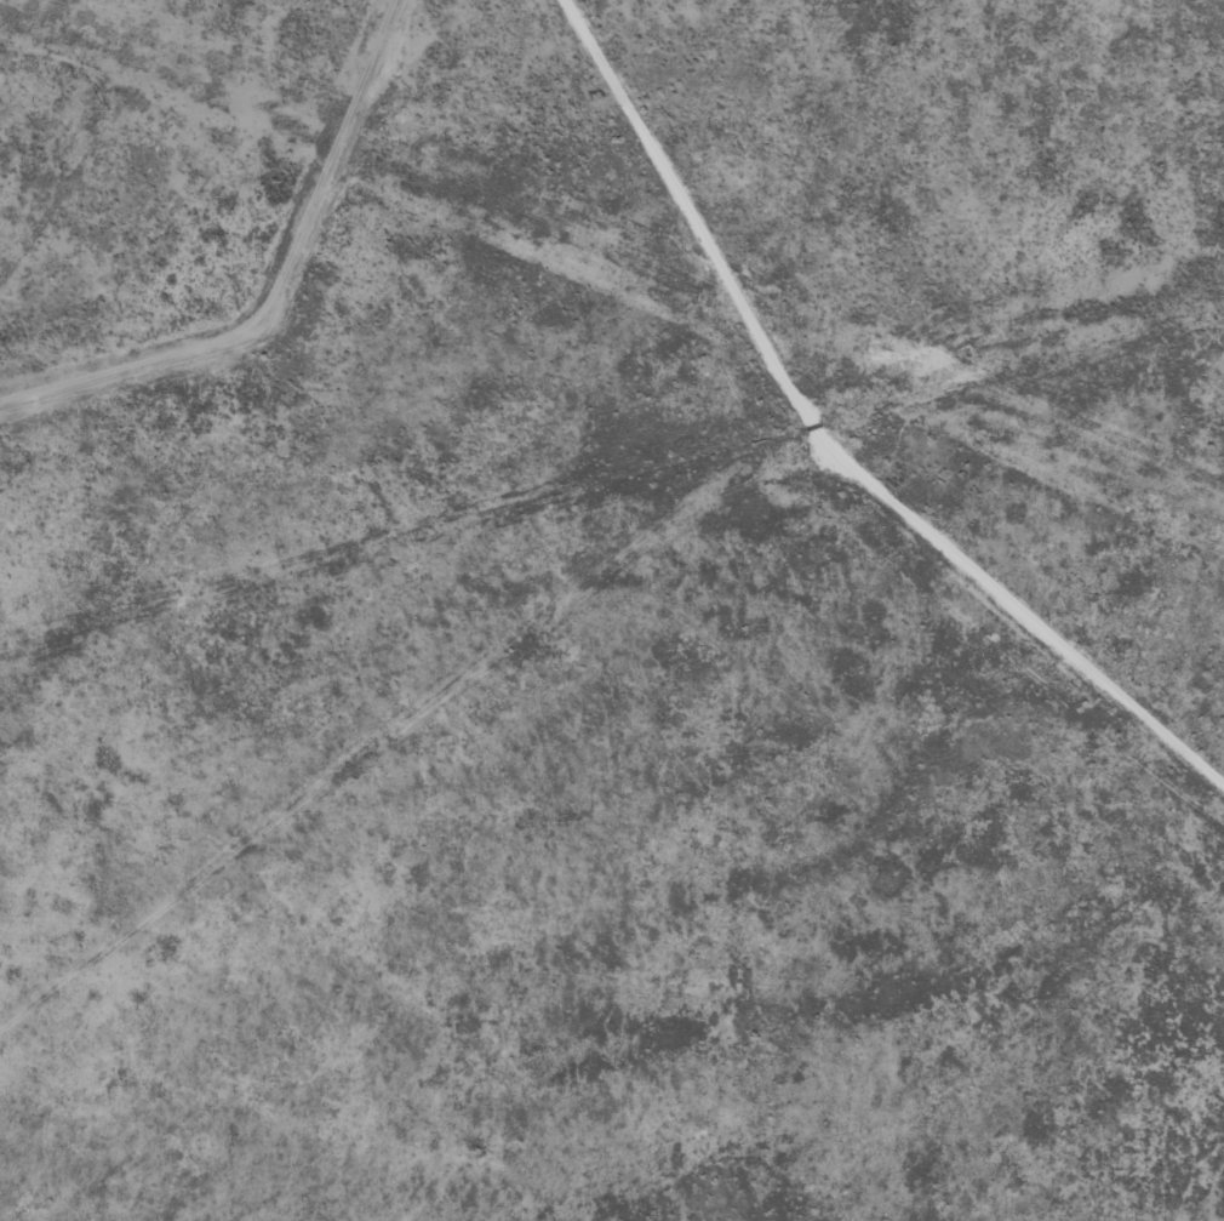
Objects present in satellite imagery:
power tower: (103, 109)

